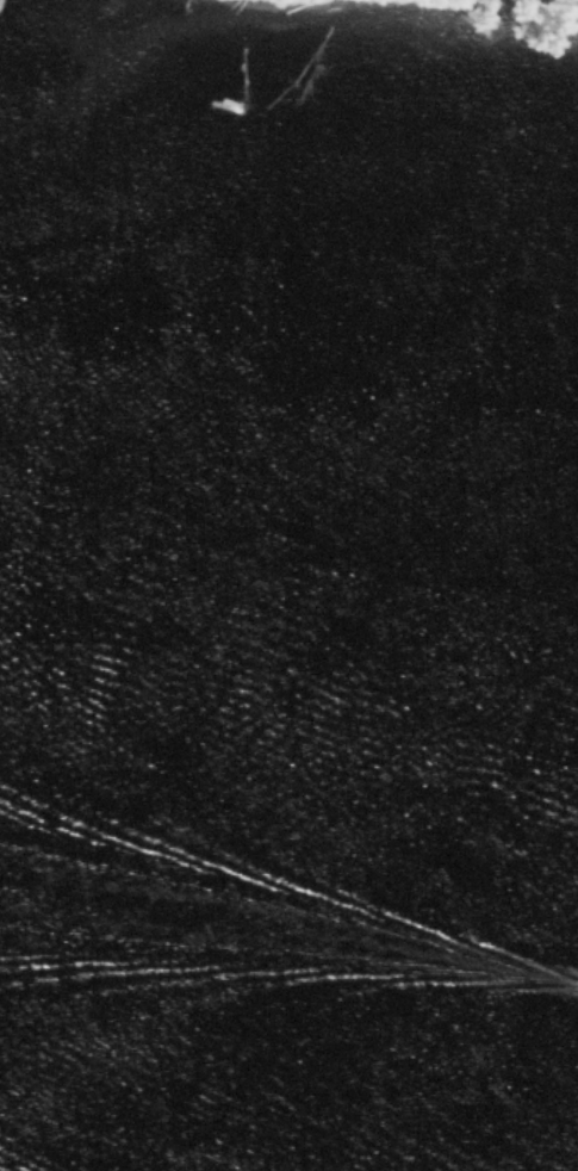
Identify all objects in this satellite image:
river: (288, 983)

